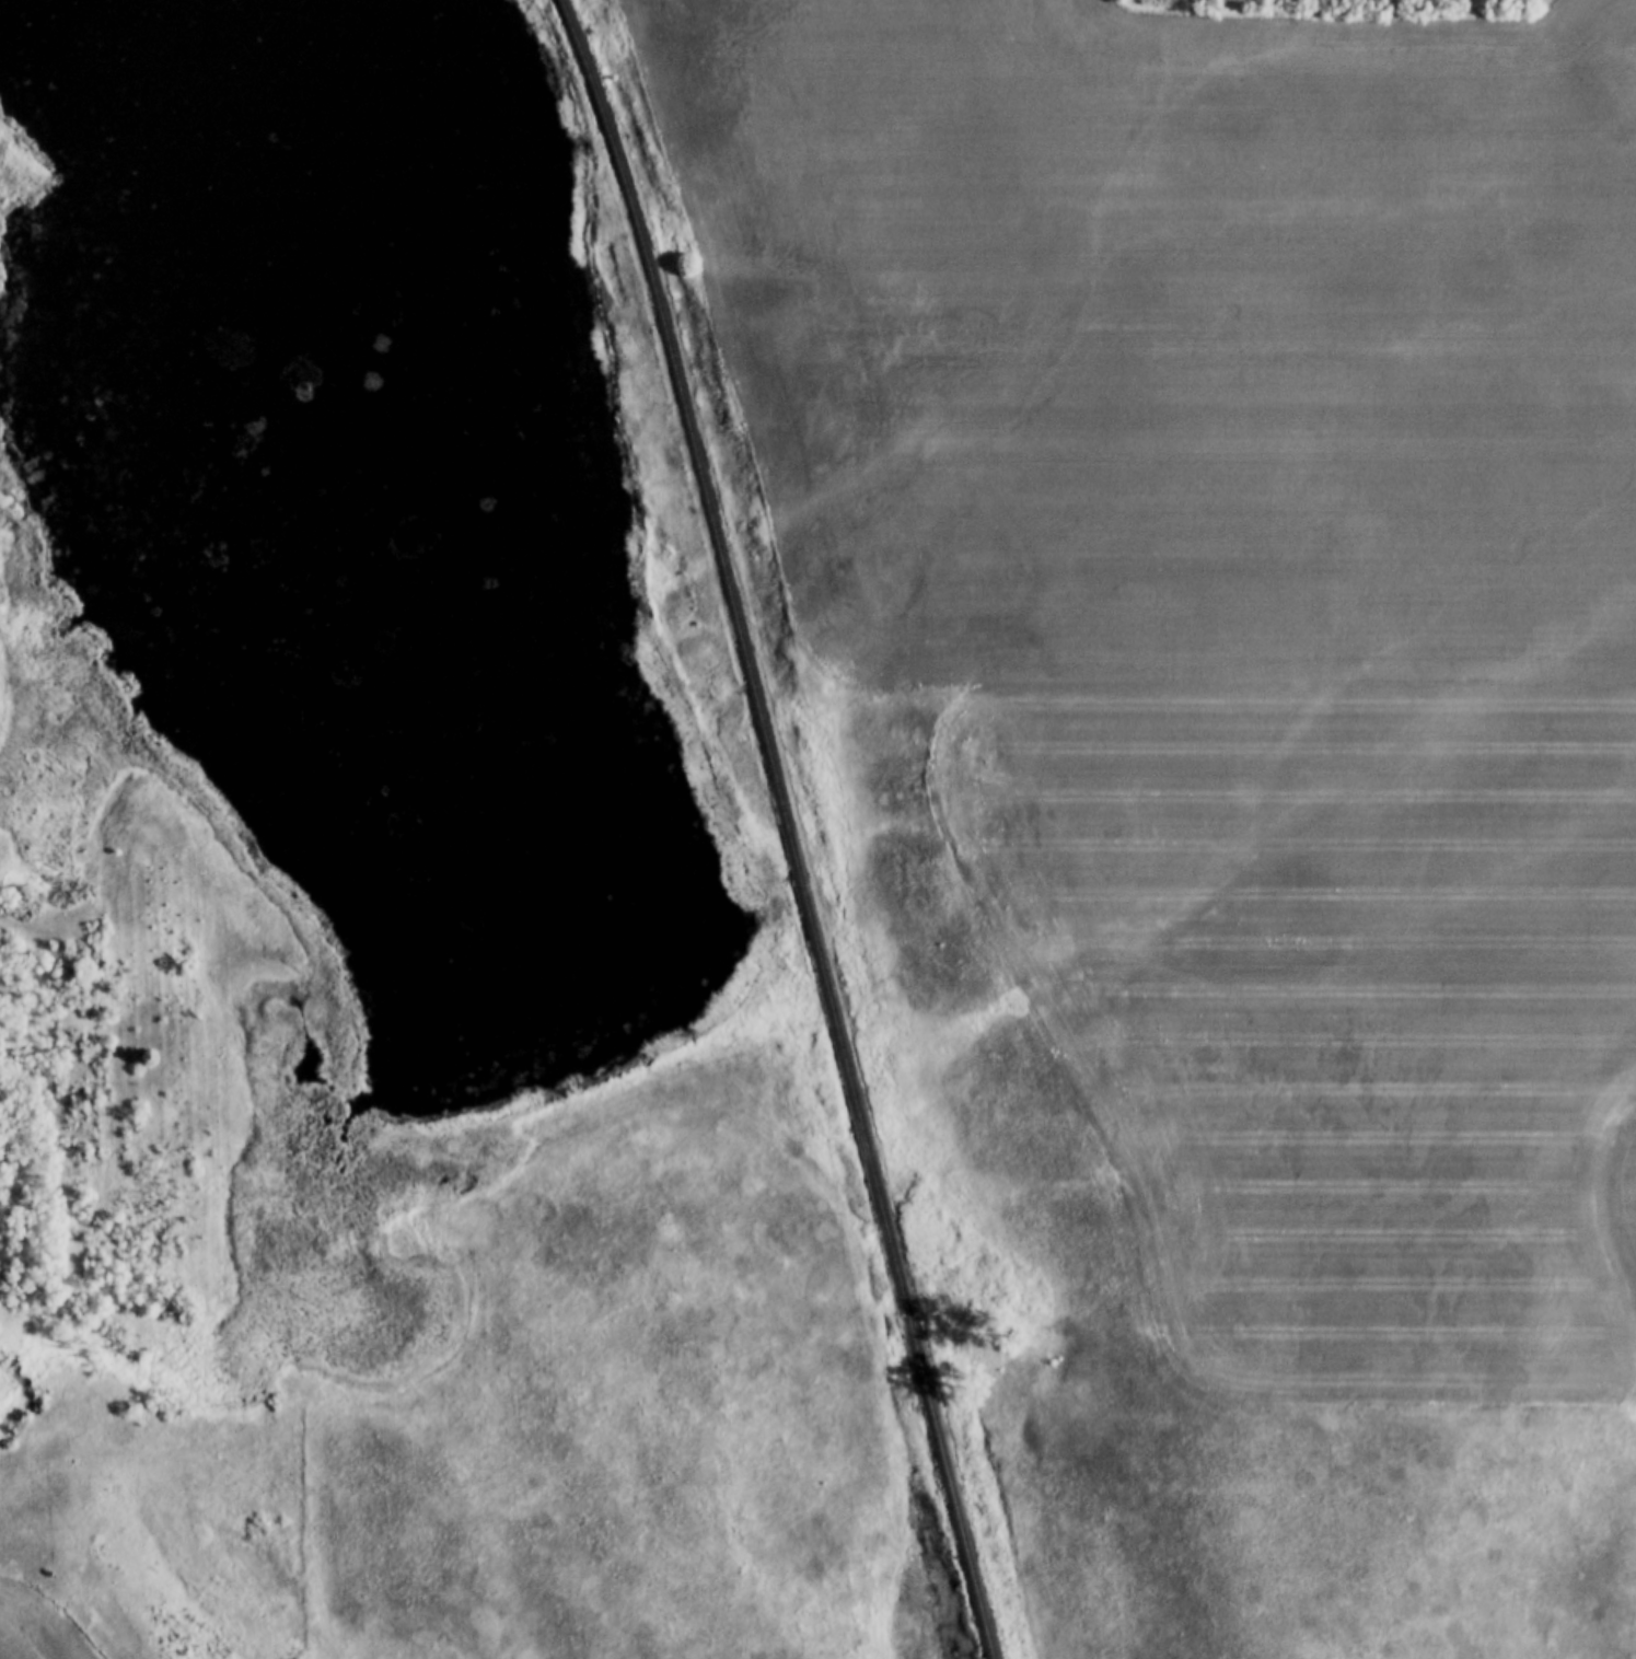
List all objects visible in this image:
railway: (787, 826)

